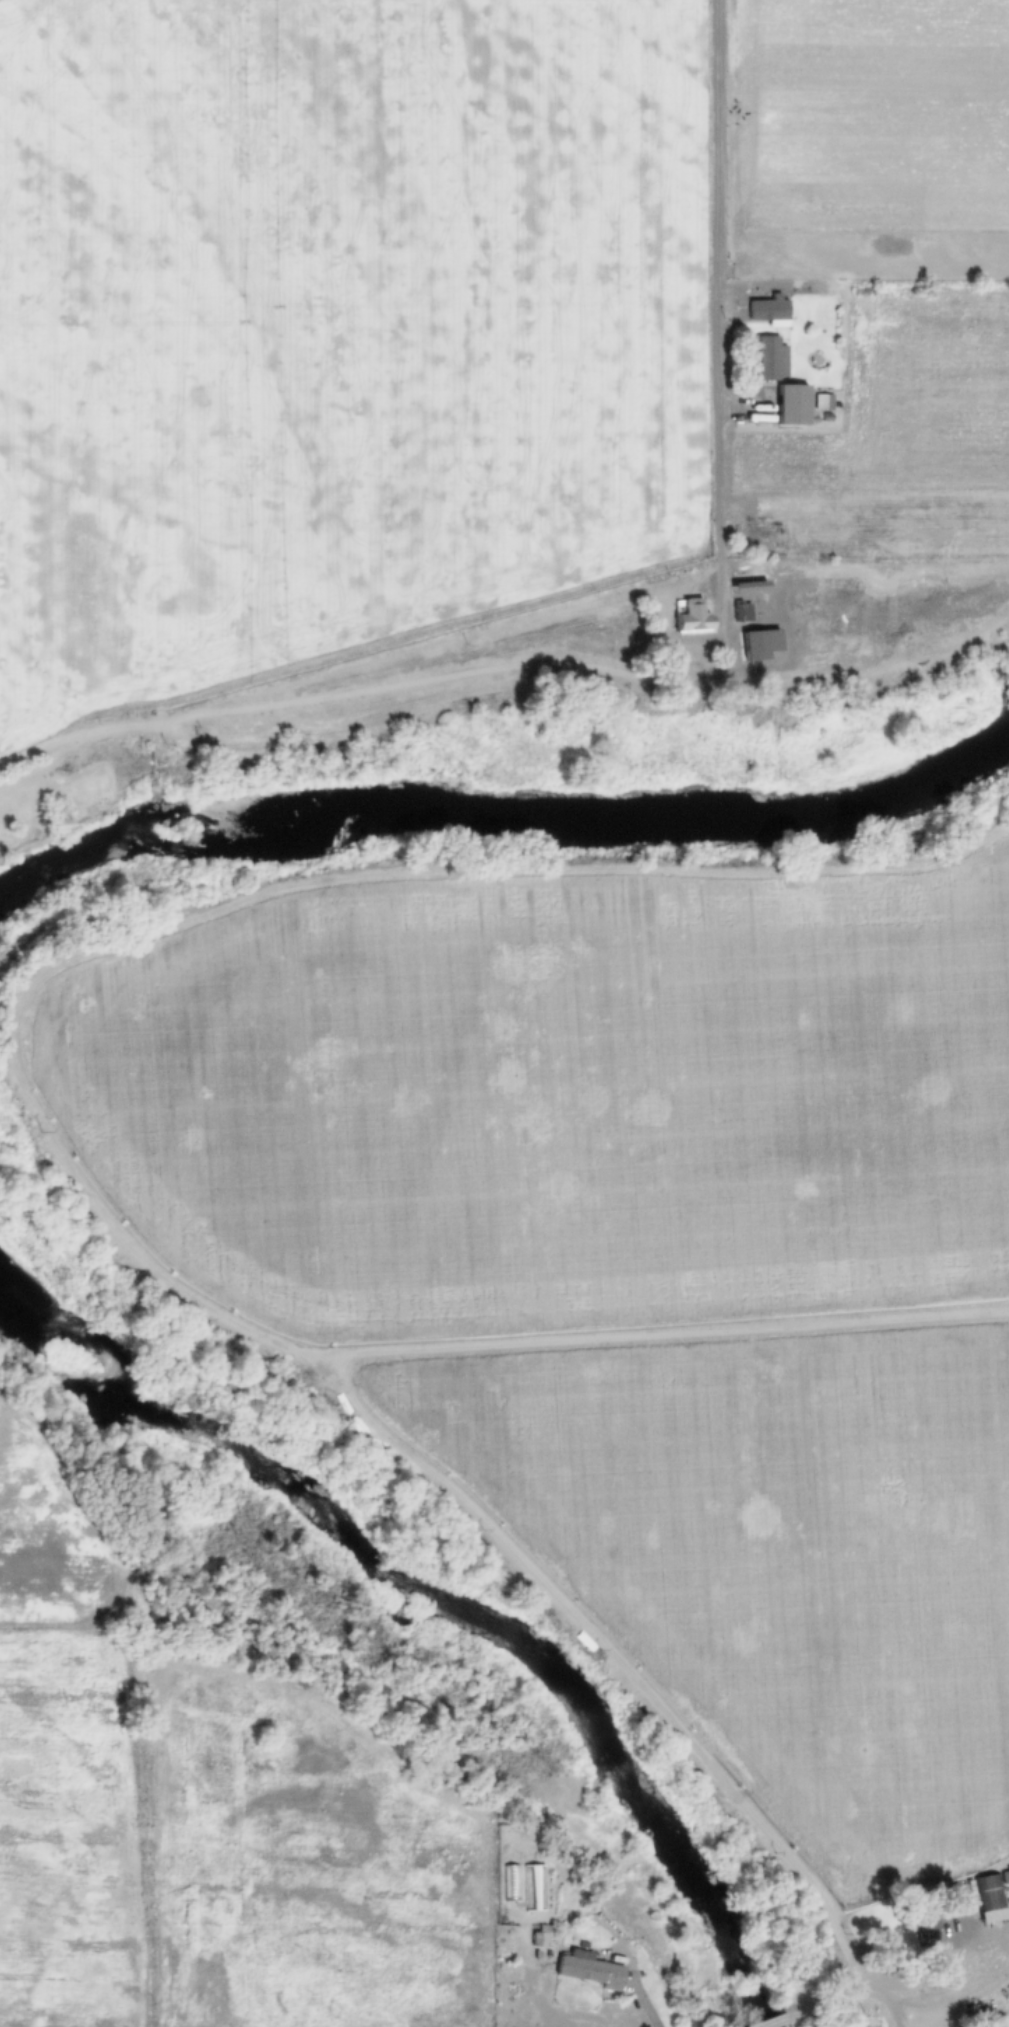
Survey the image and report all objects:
road: (715, 306)
building: (769, 311)
building: (771, 360)
building: (791, 407)
building: (741, 612)
building: (692, 617)
building: (959, 1897)
building: (988, 1899)
building: (927, 1933)
building: (542, 1938)
building: (588, 1972)
road: (899, 1995)
road: (893, 2012)
road: (778, 2023)

